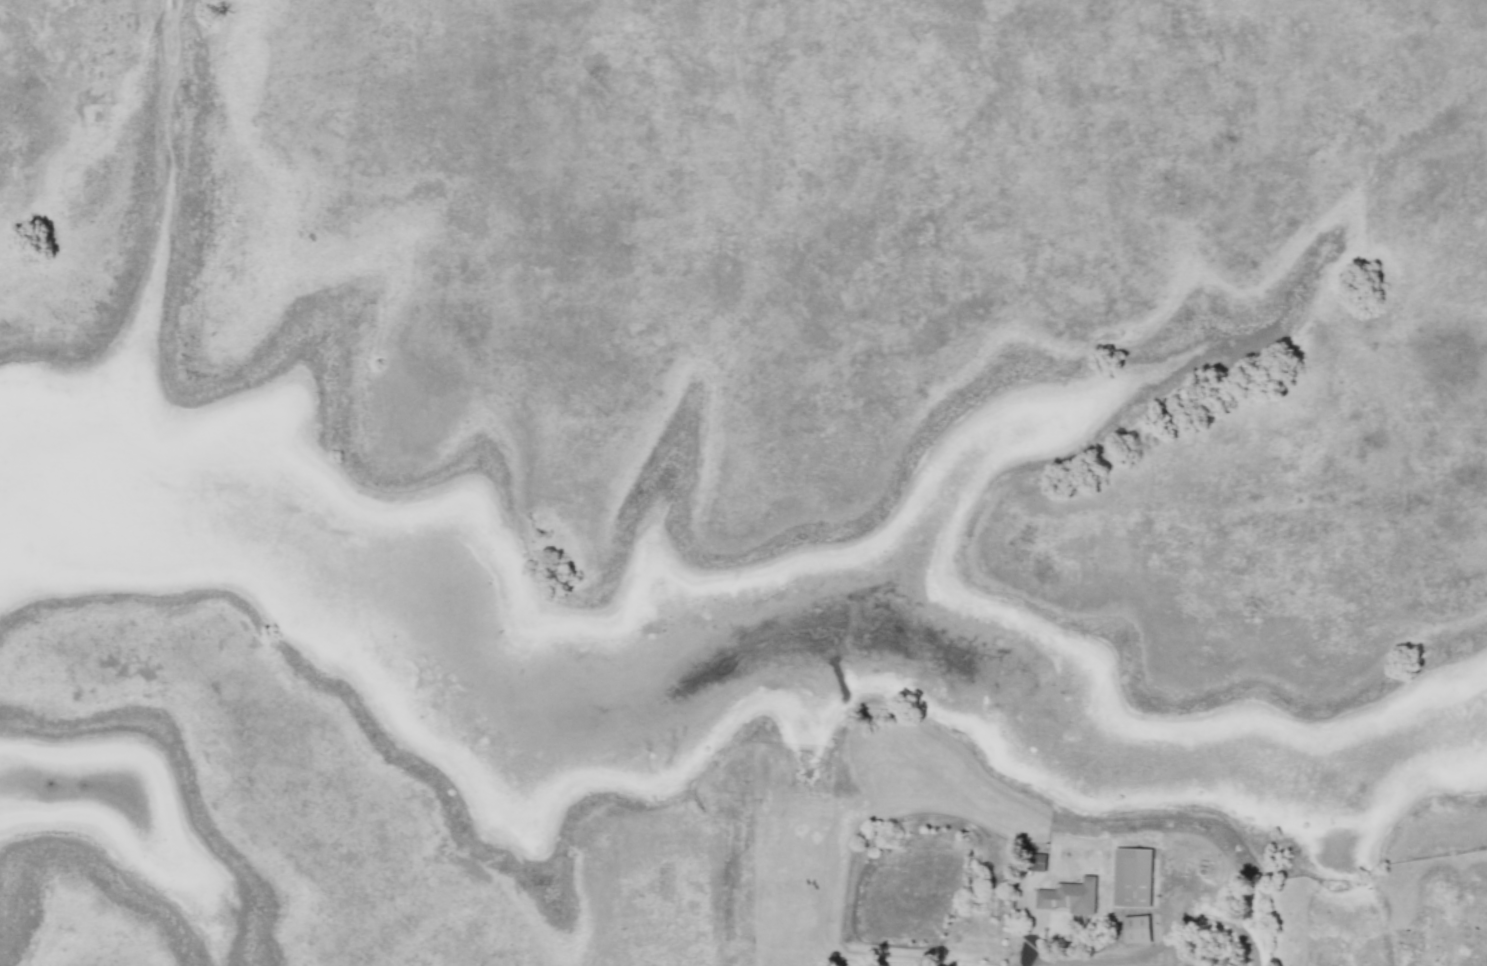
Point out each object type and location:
building: (1131, 876)
building: (1069, 895)
building: (1136, 928)
road: (1161, 944)

